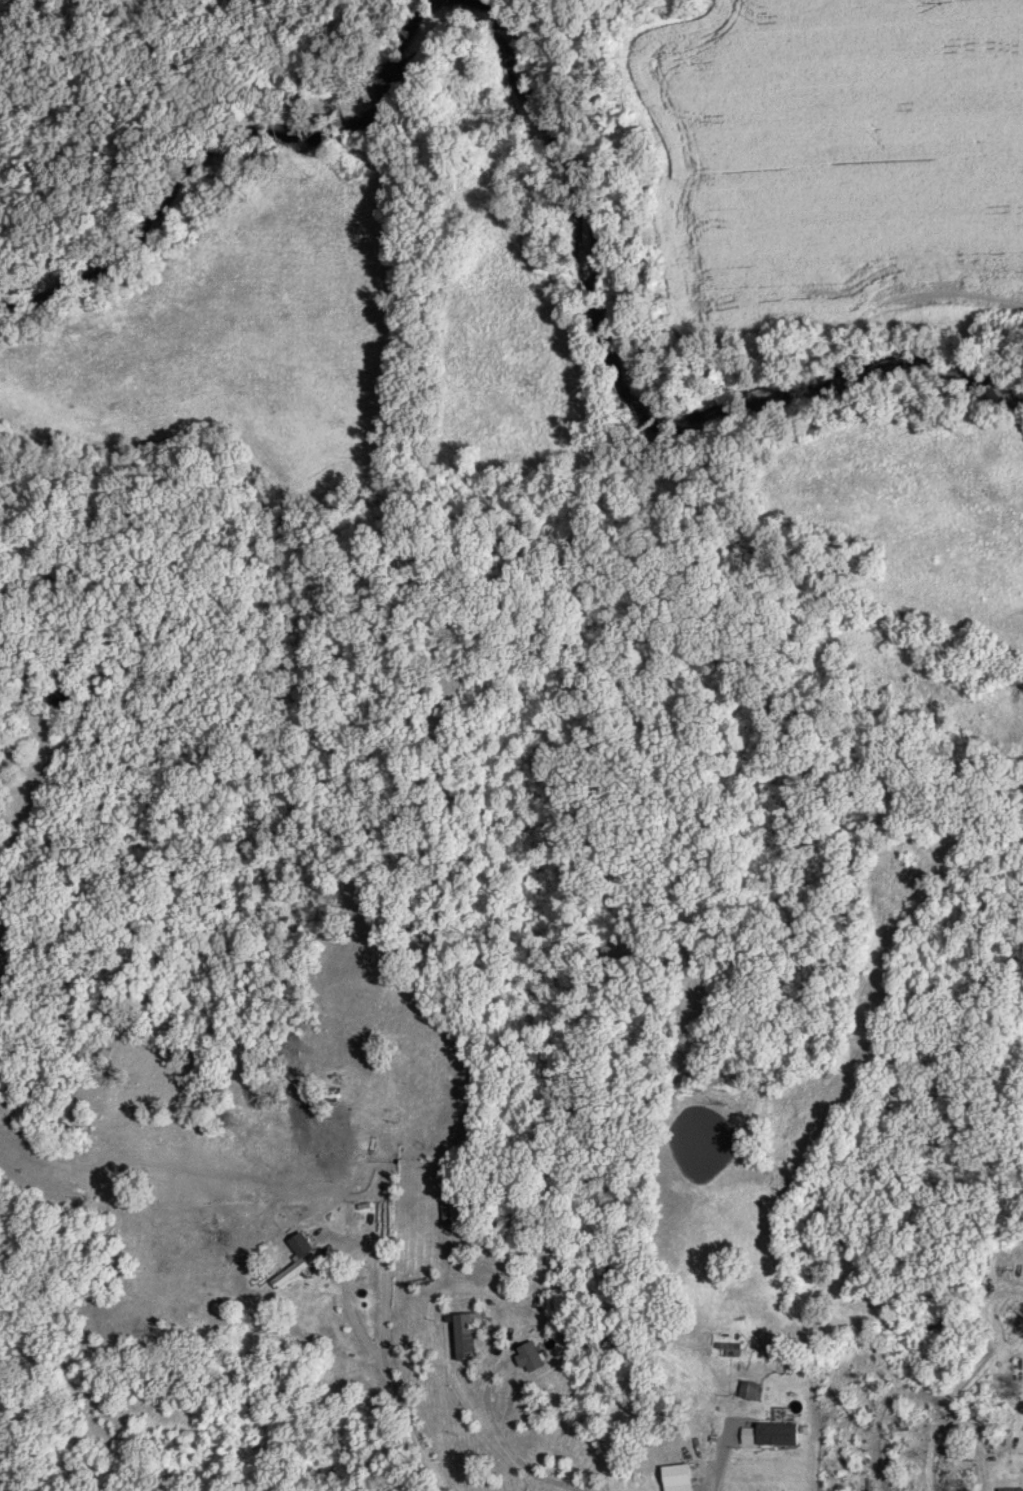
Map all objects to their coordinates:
building: (266, 1159)
building: (304, 1250)
road: (384, 1318)
building: (460, 1337)
building: (733, 1351)
building: (751, 1391)
building: (778, 1433)
building: (659, 1444)
road: (728, 1449)
building: (557, 1460)
building: (1006, 1490)

